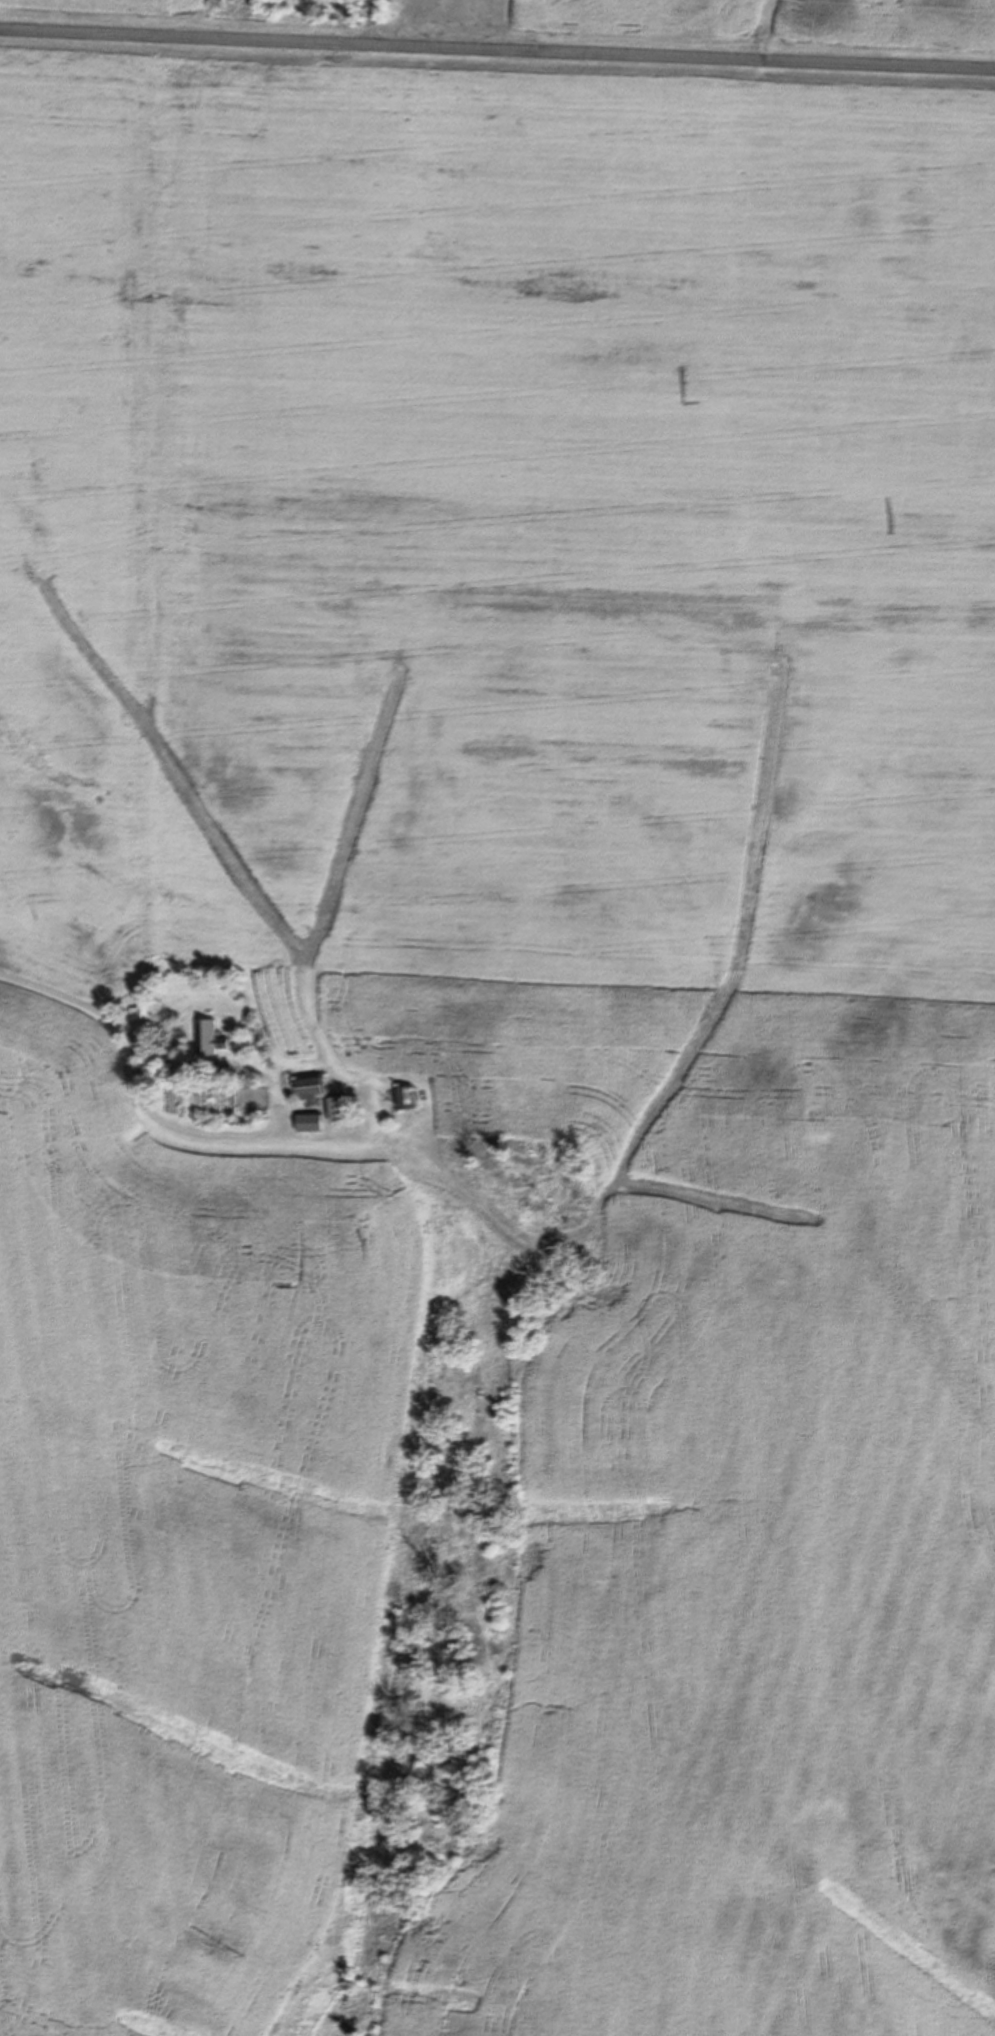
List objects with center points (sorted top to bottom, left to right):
road: (497, 50)
road: (100, 959)
building: (139, 1011)
building: (208, 1038)
building: (311, 1086)
building: (405, 1096)

